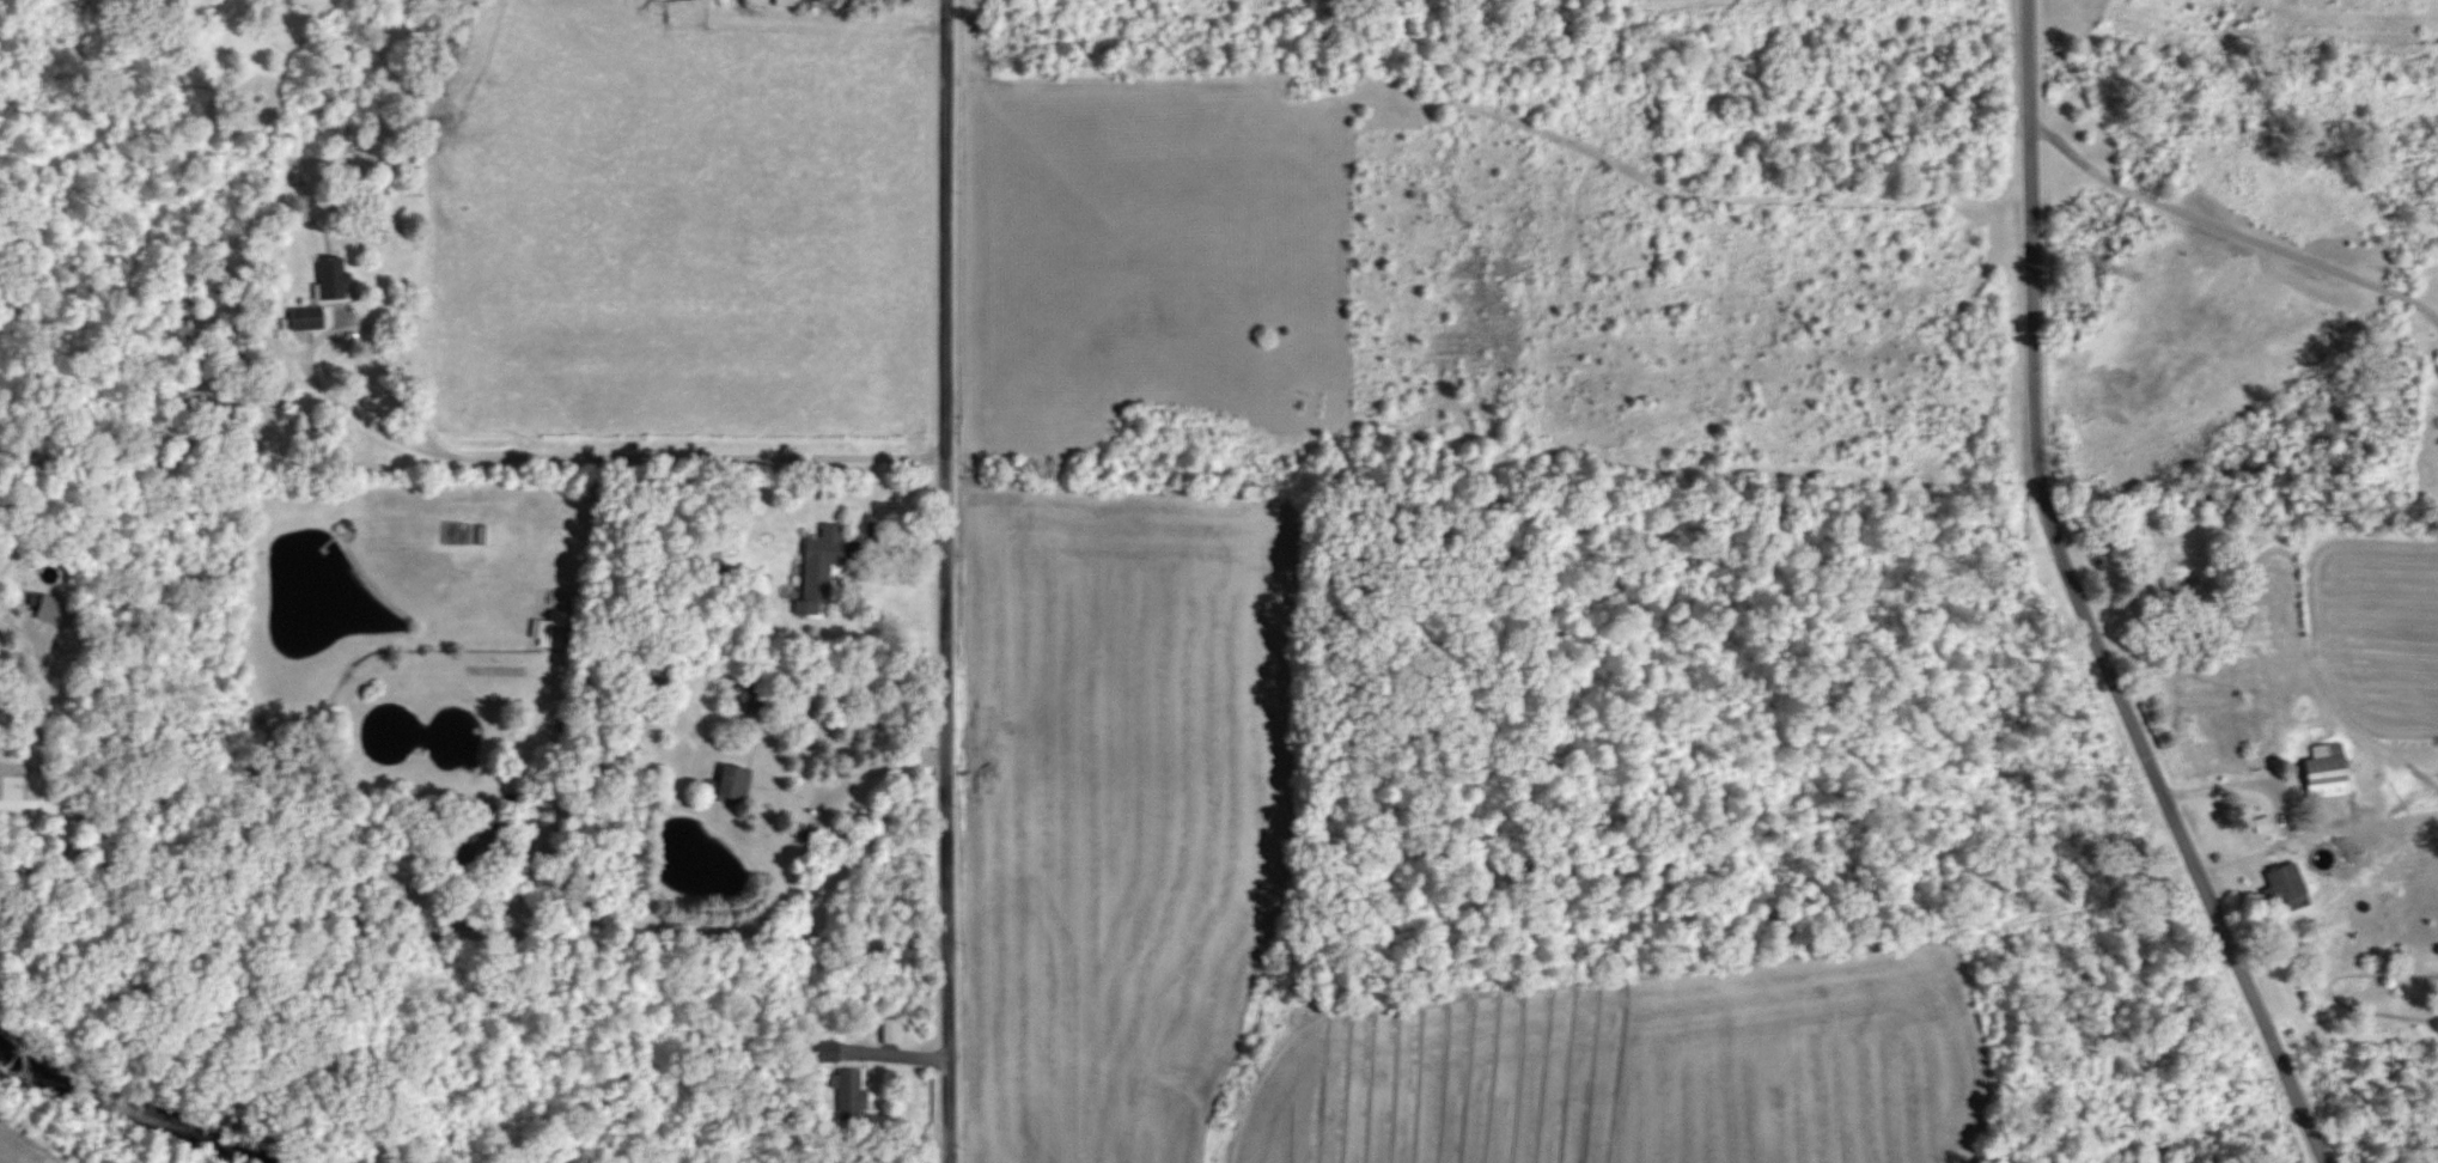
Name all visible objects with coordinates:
building: (793, 2)
road: (2224, 233)
building: (336, 278)
building: (311, 317)
road: (364, 331)
road: (688, 457)
building: (828, 558)
road: (943, 580)
road: (2079, 601)
road: (890, 769)
building: (2322, 769)
building: (740, 779)
road: (2242, 783)
road: (39, 808)
building: (2280, 881)
road: (565, 889)
road: (355, 921)
building: (890, 1028)
building: (830, 1049)
building: (853, 1091)

